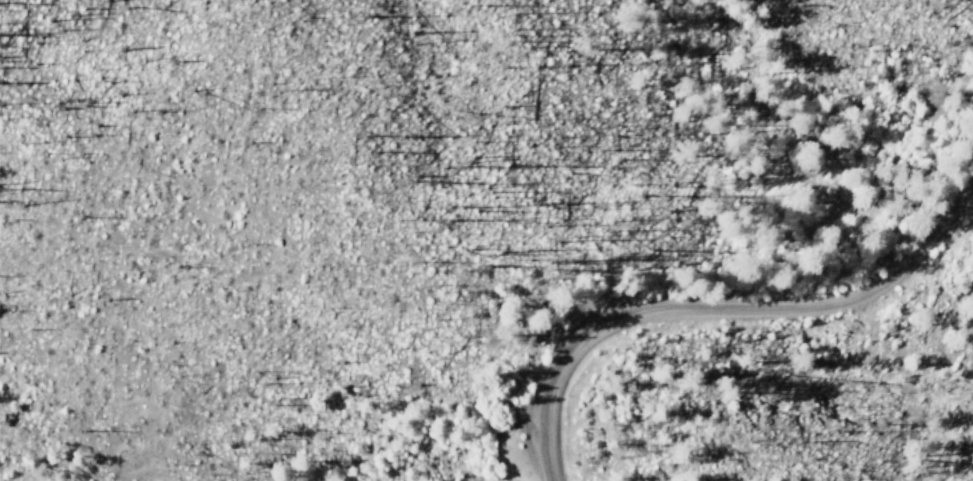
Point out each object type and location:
road: (703, 296)

